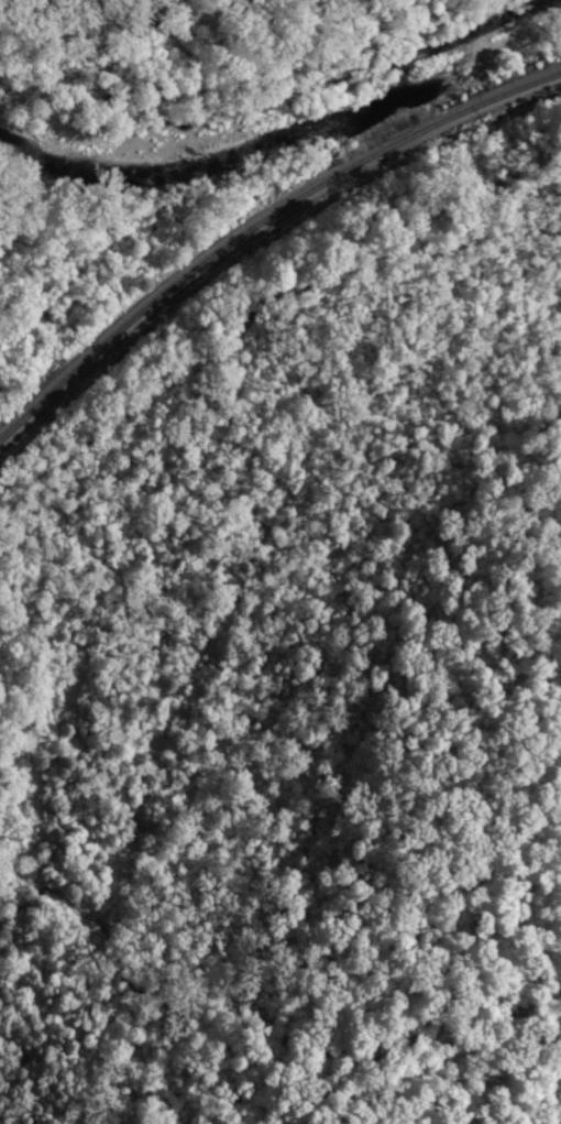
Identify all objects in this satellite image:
railway: (260, 223)

